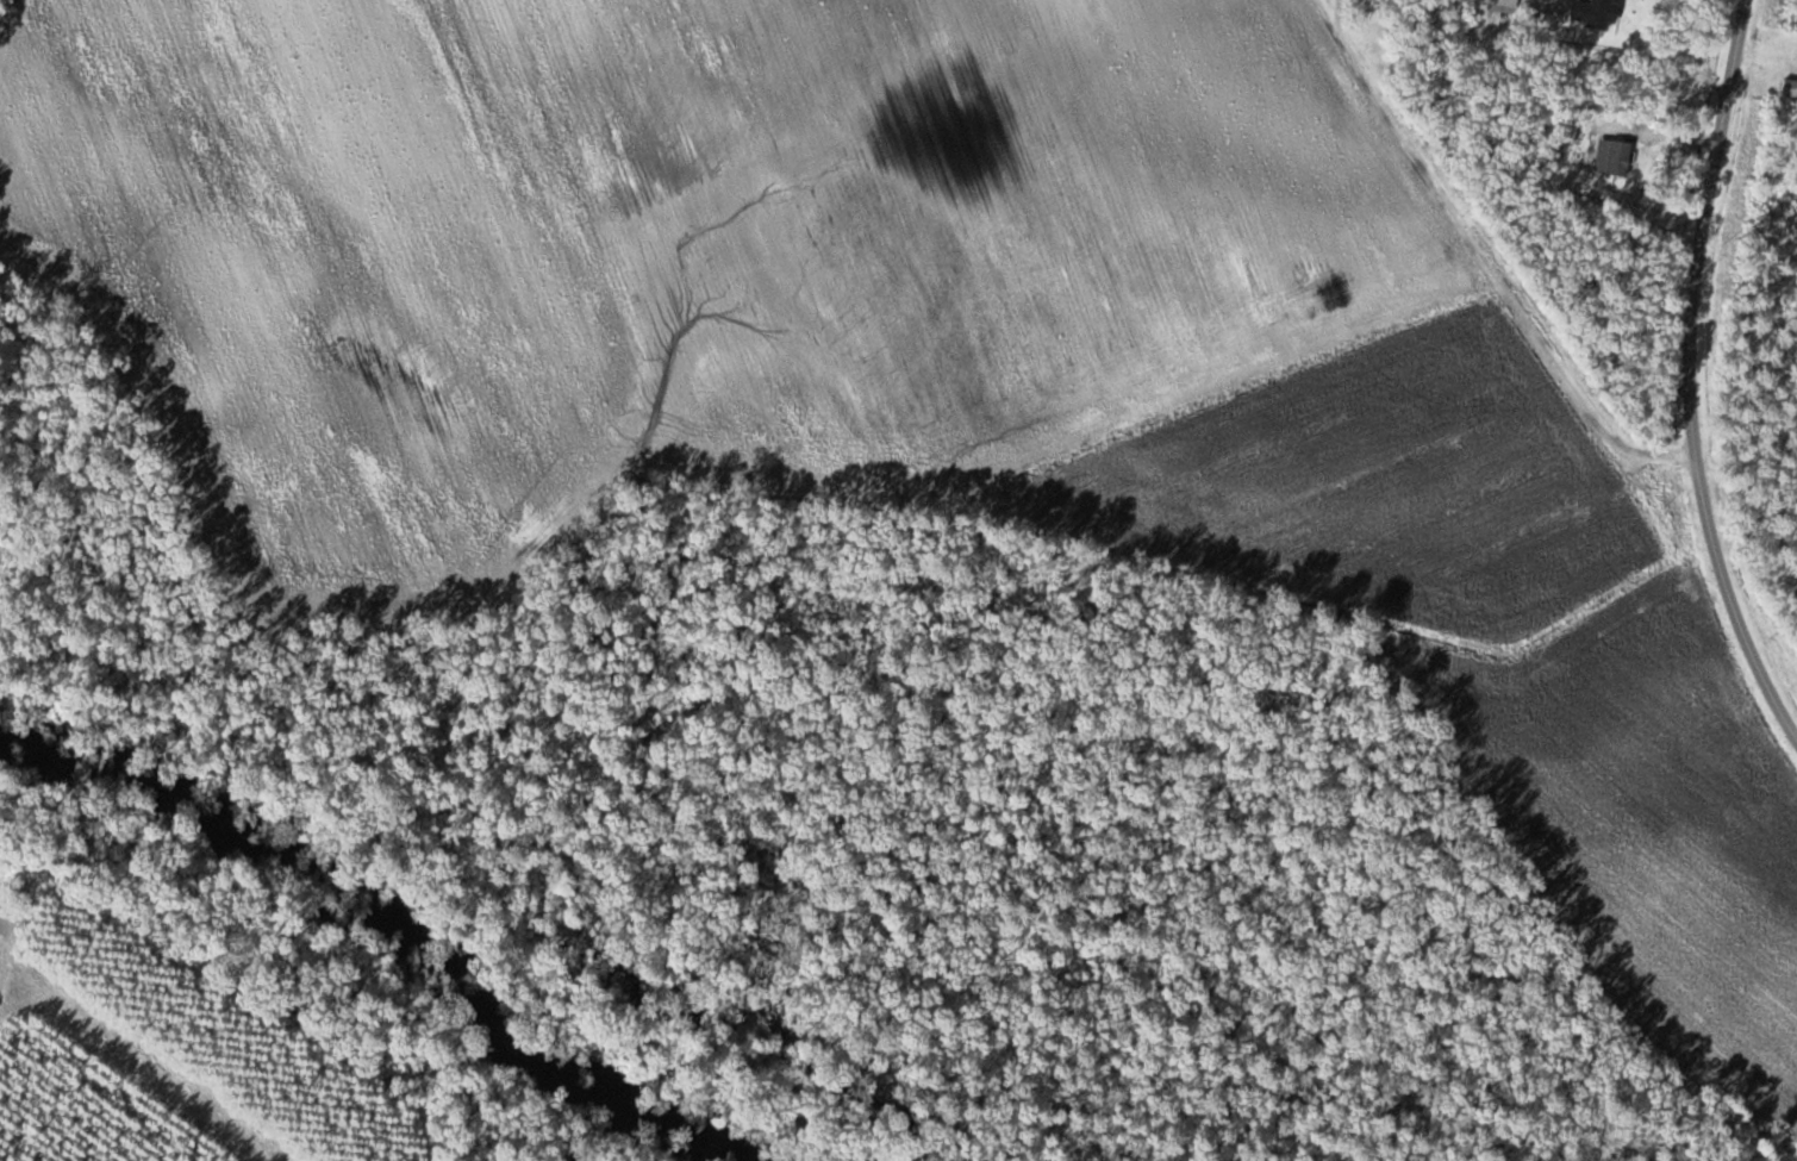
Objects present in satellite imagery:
building: (1506, 2)
building: (1597, 14)
building: (1790, 89)
road: (1485, 260)
road: (1690, 373)
river: (323, 957)

